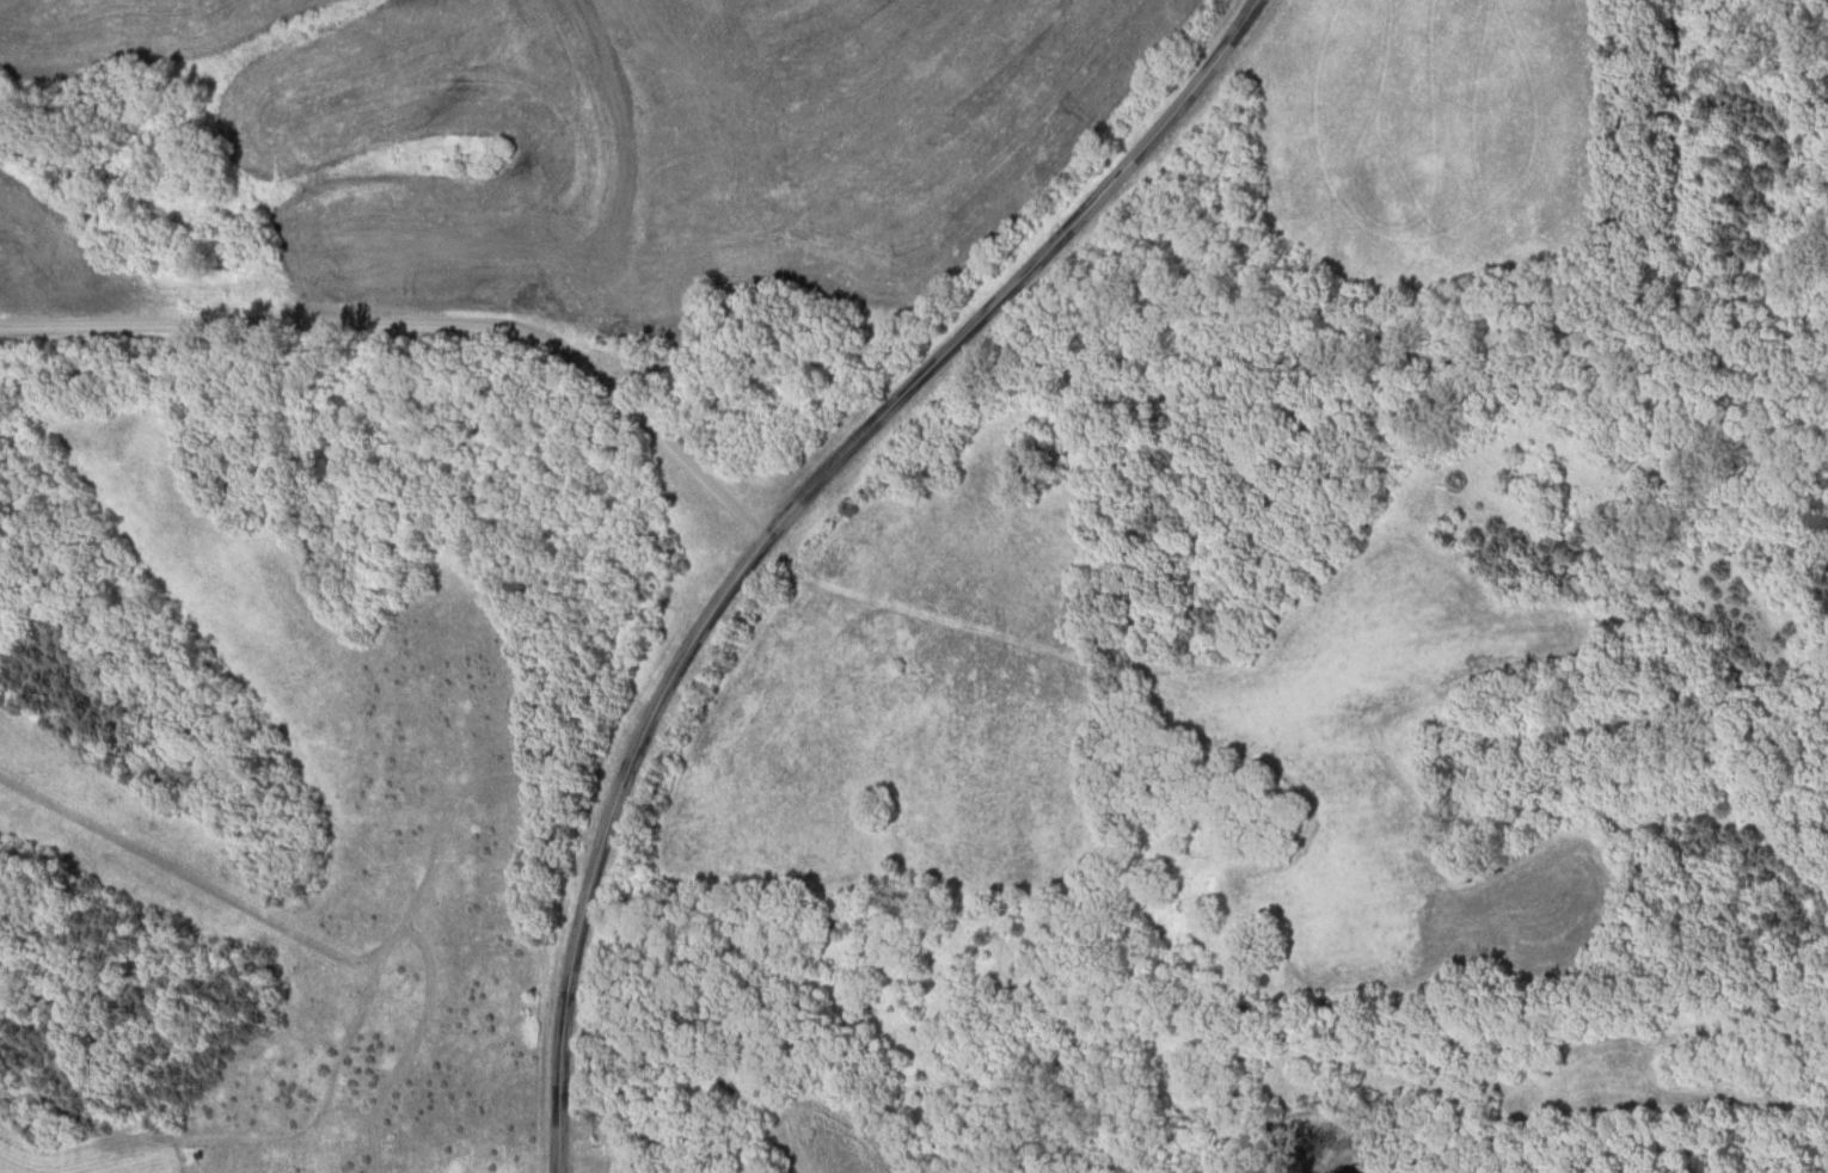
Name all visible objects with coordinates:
road: (423, 320)
road: (779, 524)

